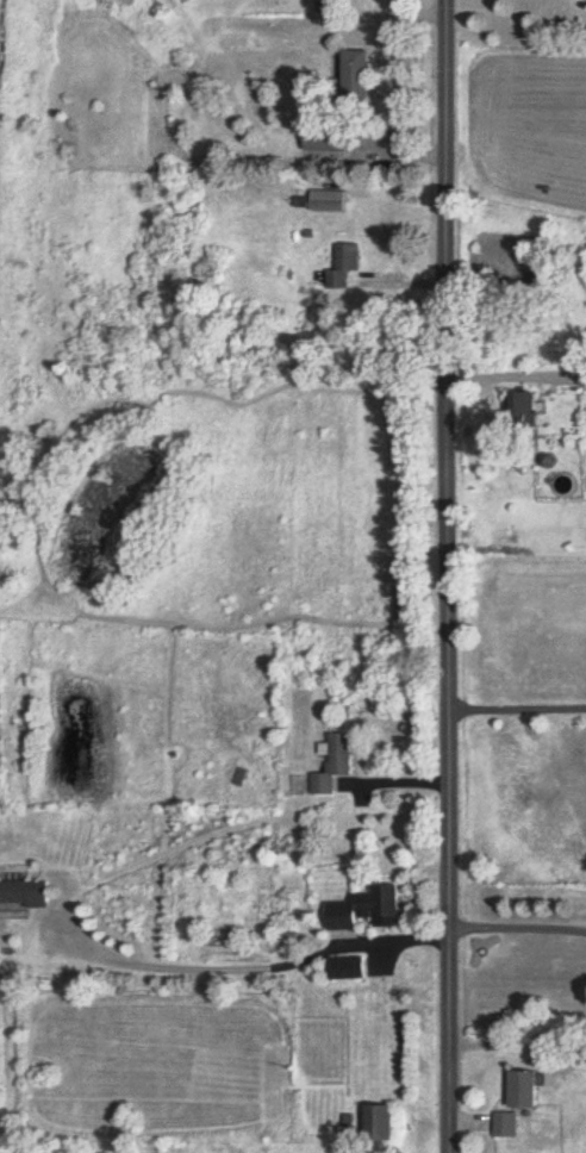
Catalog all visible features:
building: (354, 77)
building: (326, 139)
building: (329, 202)
building: (345, 267)
road: (519, 376)
road: (451, 576)
road: (518, 709)
building: (336, 766)
building: (24, 895)
building: (370, 911)
road: (518, 927)
building: (351, 971)
building: (529, 1090)
building: (388, 1123)
building: (509, 1126)

